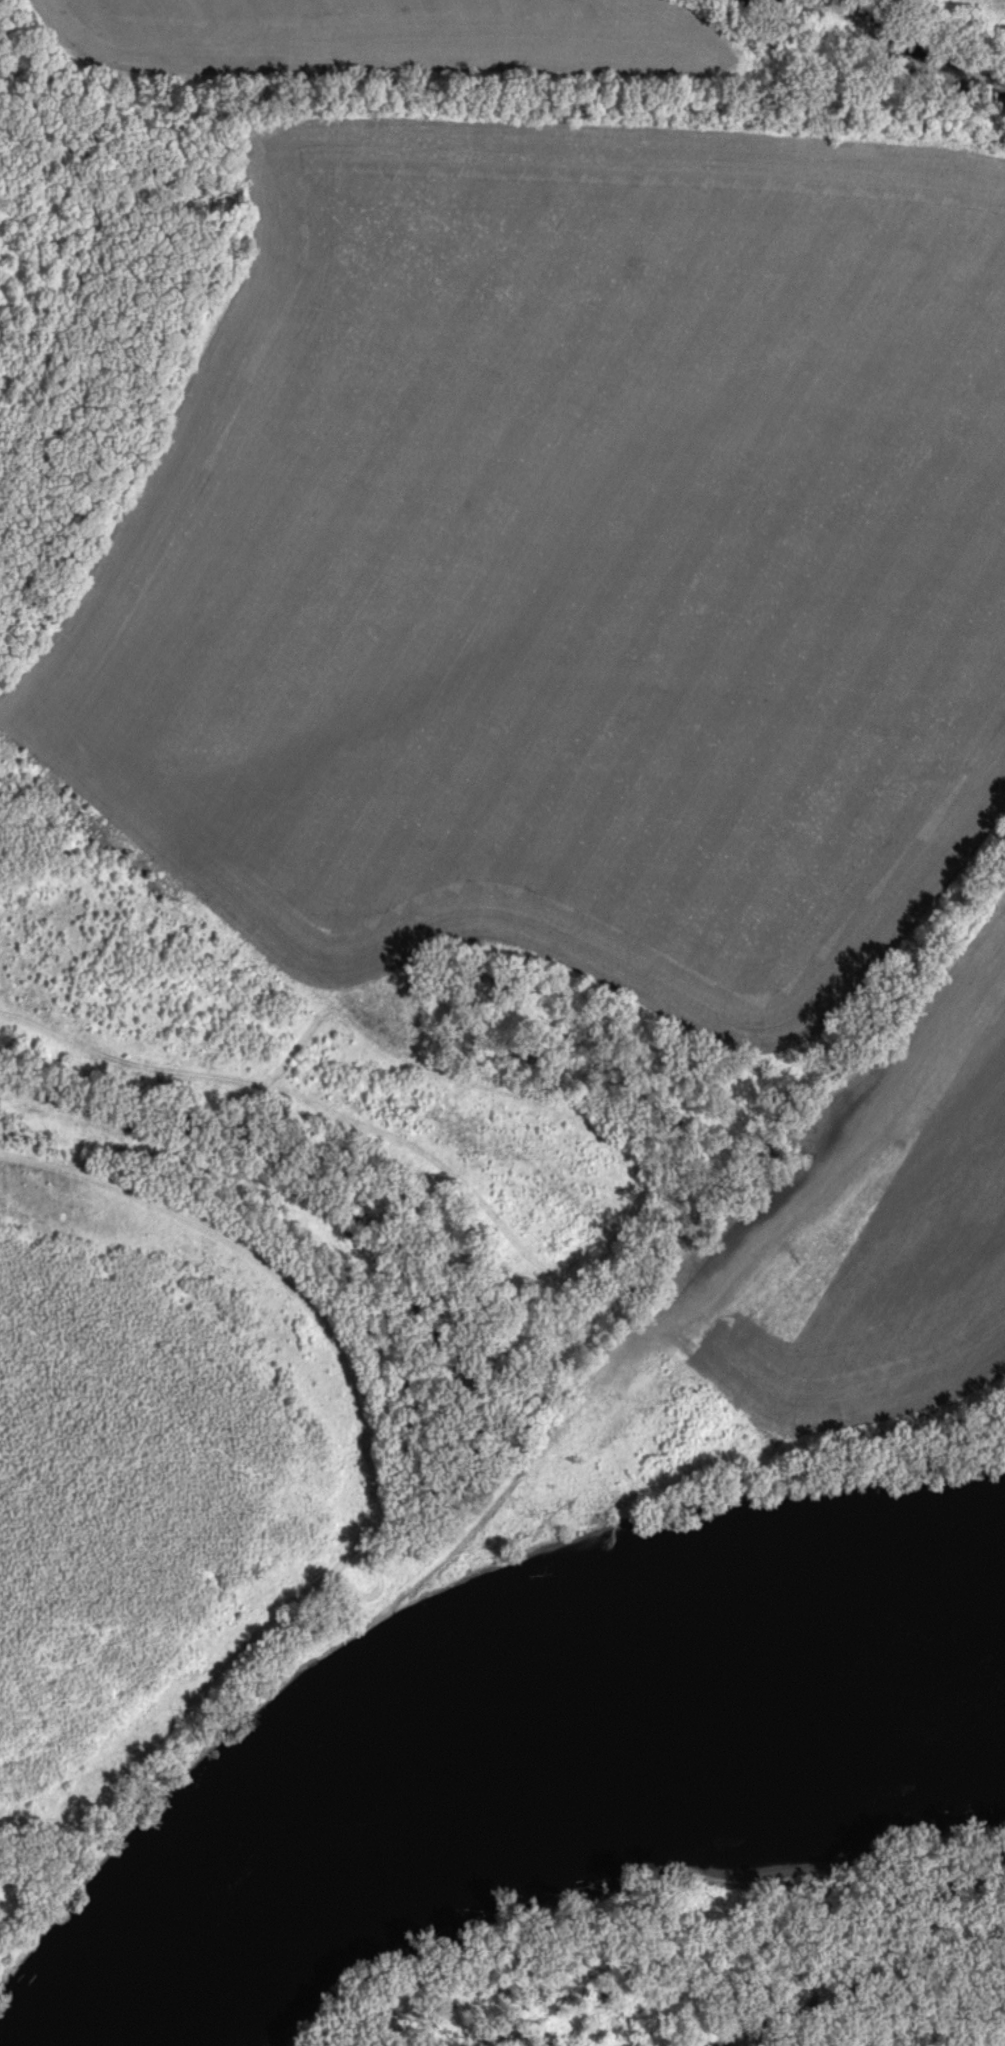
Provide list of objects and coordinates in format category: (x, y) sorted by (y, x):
river: (552, 1775)

